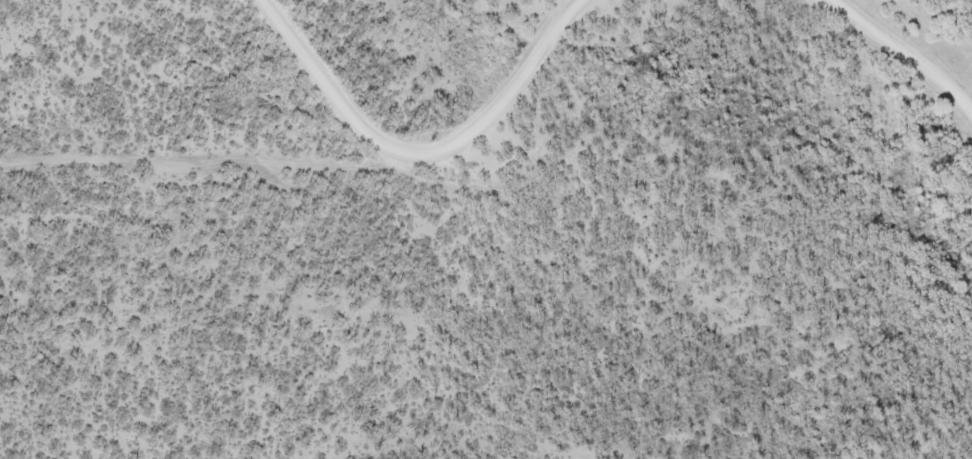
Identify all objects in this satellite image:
road: (906, 51)
road: (326, 147)

